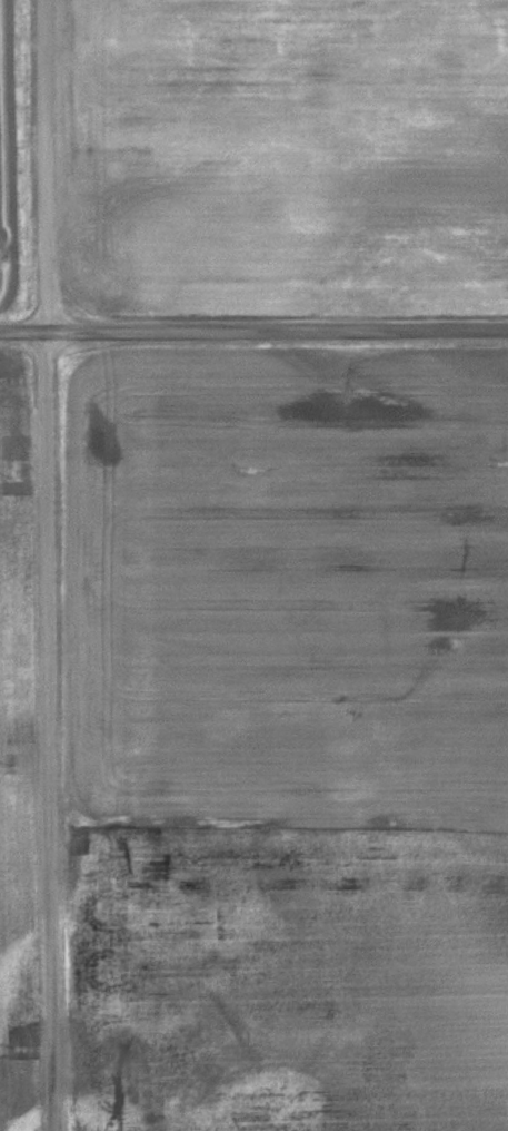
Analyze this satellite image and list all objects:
road: (253, 334)
road: (50, 565)
crop: (298, 750)
crop: (4, 758)

